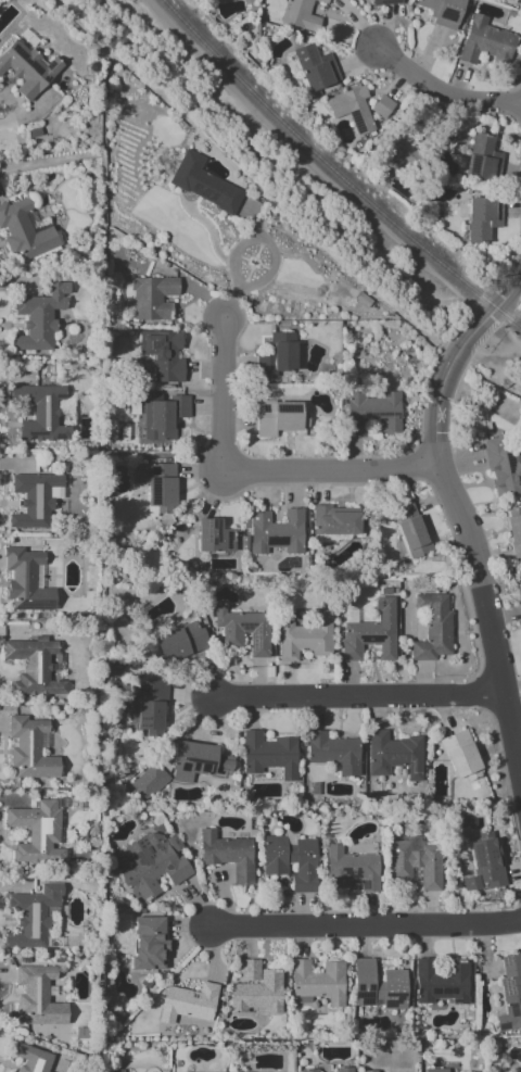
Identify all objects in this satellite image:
building: (513, 1)
building: (384, 2)
building: (442, 12)
building: (300, 14)
building: (485, 41)
building: (315, 67)
building: (26, 68)
road: (514, 87)
road: (441, 96)
road: (519, 103)
road: (0, 108)
building: (359, 108)
road: (520, 125)
building: (389, 140)
building: (482, 157)
railway: (339, 169)
building: (202, 184)
building: (482, 218)
building: (23, 231)
road: (252, 240)
road: (510, 263)
road: (483, 297)
building: (150, 298)
building: (39, 317)
building: (163, 354)
building: (277, 355)
road: (429, 374)
building: (39, 413)
building: (371, 413)
building: (163, 417)
building: (278, 418)
road: (417, 465)
building: (501, 467)
road: (254, 474)
building: (155, 484)
road: (322, 485)
building: (35, 500)
road: (460, 514)
building: (336, 520)
building: (410, 530)
building: (277, 531)
building: (514, 534)
building: (214, 537)
building: (25, 580)
building: (432, 627)
building: (243, 630)
building: (371, 632)
building: (305, 638)
building: (180, 642)
building: (33, 667)
road: (357, 697)
building: (148, 708)
building: (29, 748)
building: (333, 752)
building: (268, 755)
building: (393, 755)
building: (460, 755)
building: (37, 832)
building: (227, 855)
building: (291, 860)
building: (151, 863)
building: (483, 863)
building: (414, 865)
building: (350, 869)
building: (31, 916)
road: (367, 928)
building: (148, 944)
building: (318, 981)
building: (440, 983)
building: (378, 986)
building: (255, 988)
building: (510, 993)
building: (38, 996)
building: (188, 1002)
building: (55, 1032)
building: (30, 1058)
building: (344, 1069)
building: (114, 1070)
building: (308, 1070)
building: (435, 1070)

